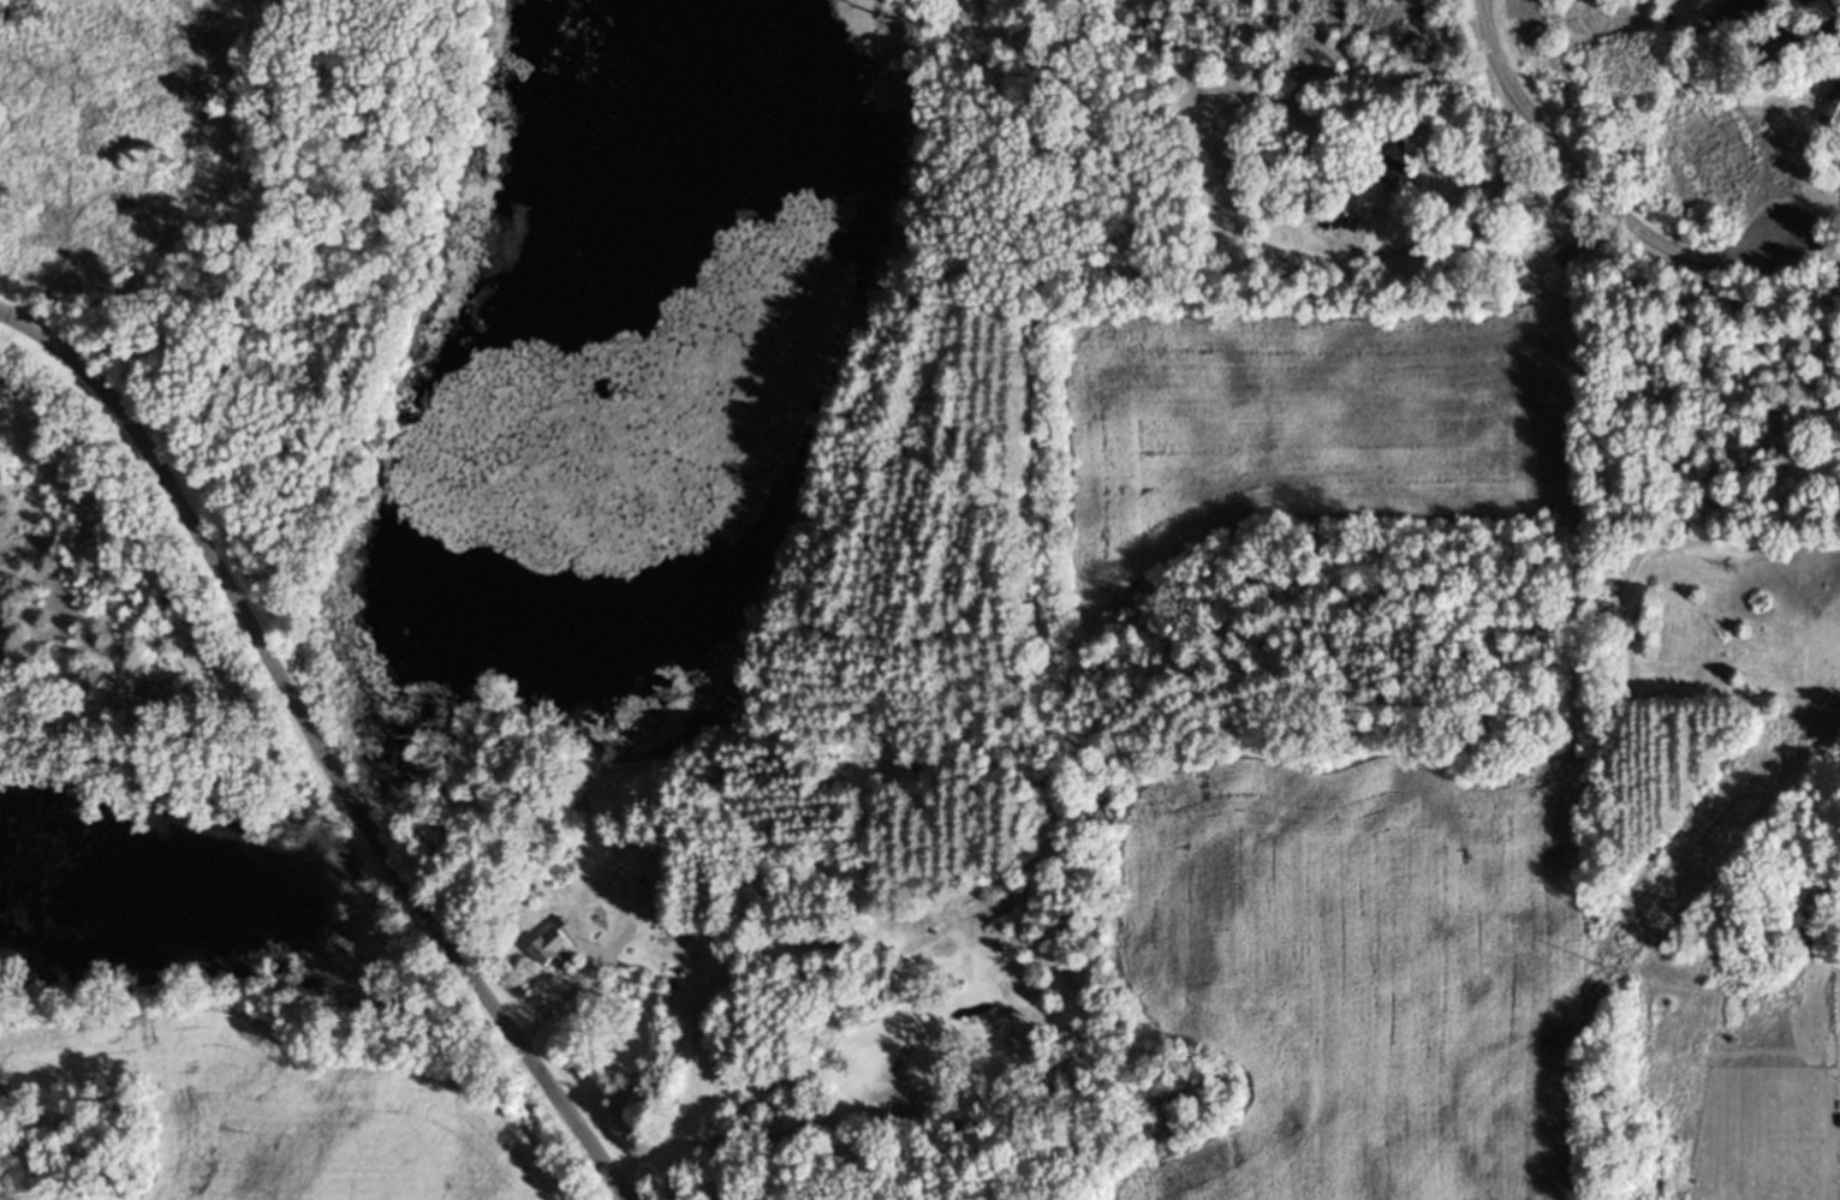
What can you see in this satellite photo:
road: (1839, 0)
building: (1746, 16)
building: (1829, 111)
building: (1398, 161)
road: (1595, 191)
road: (1478, 228)
road: (320, 746)
building: (555, 948)

